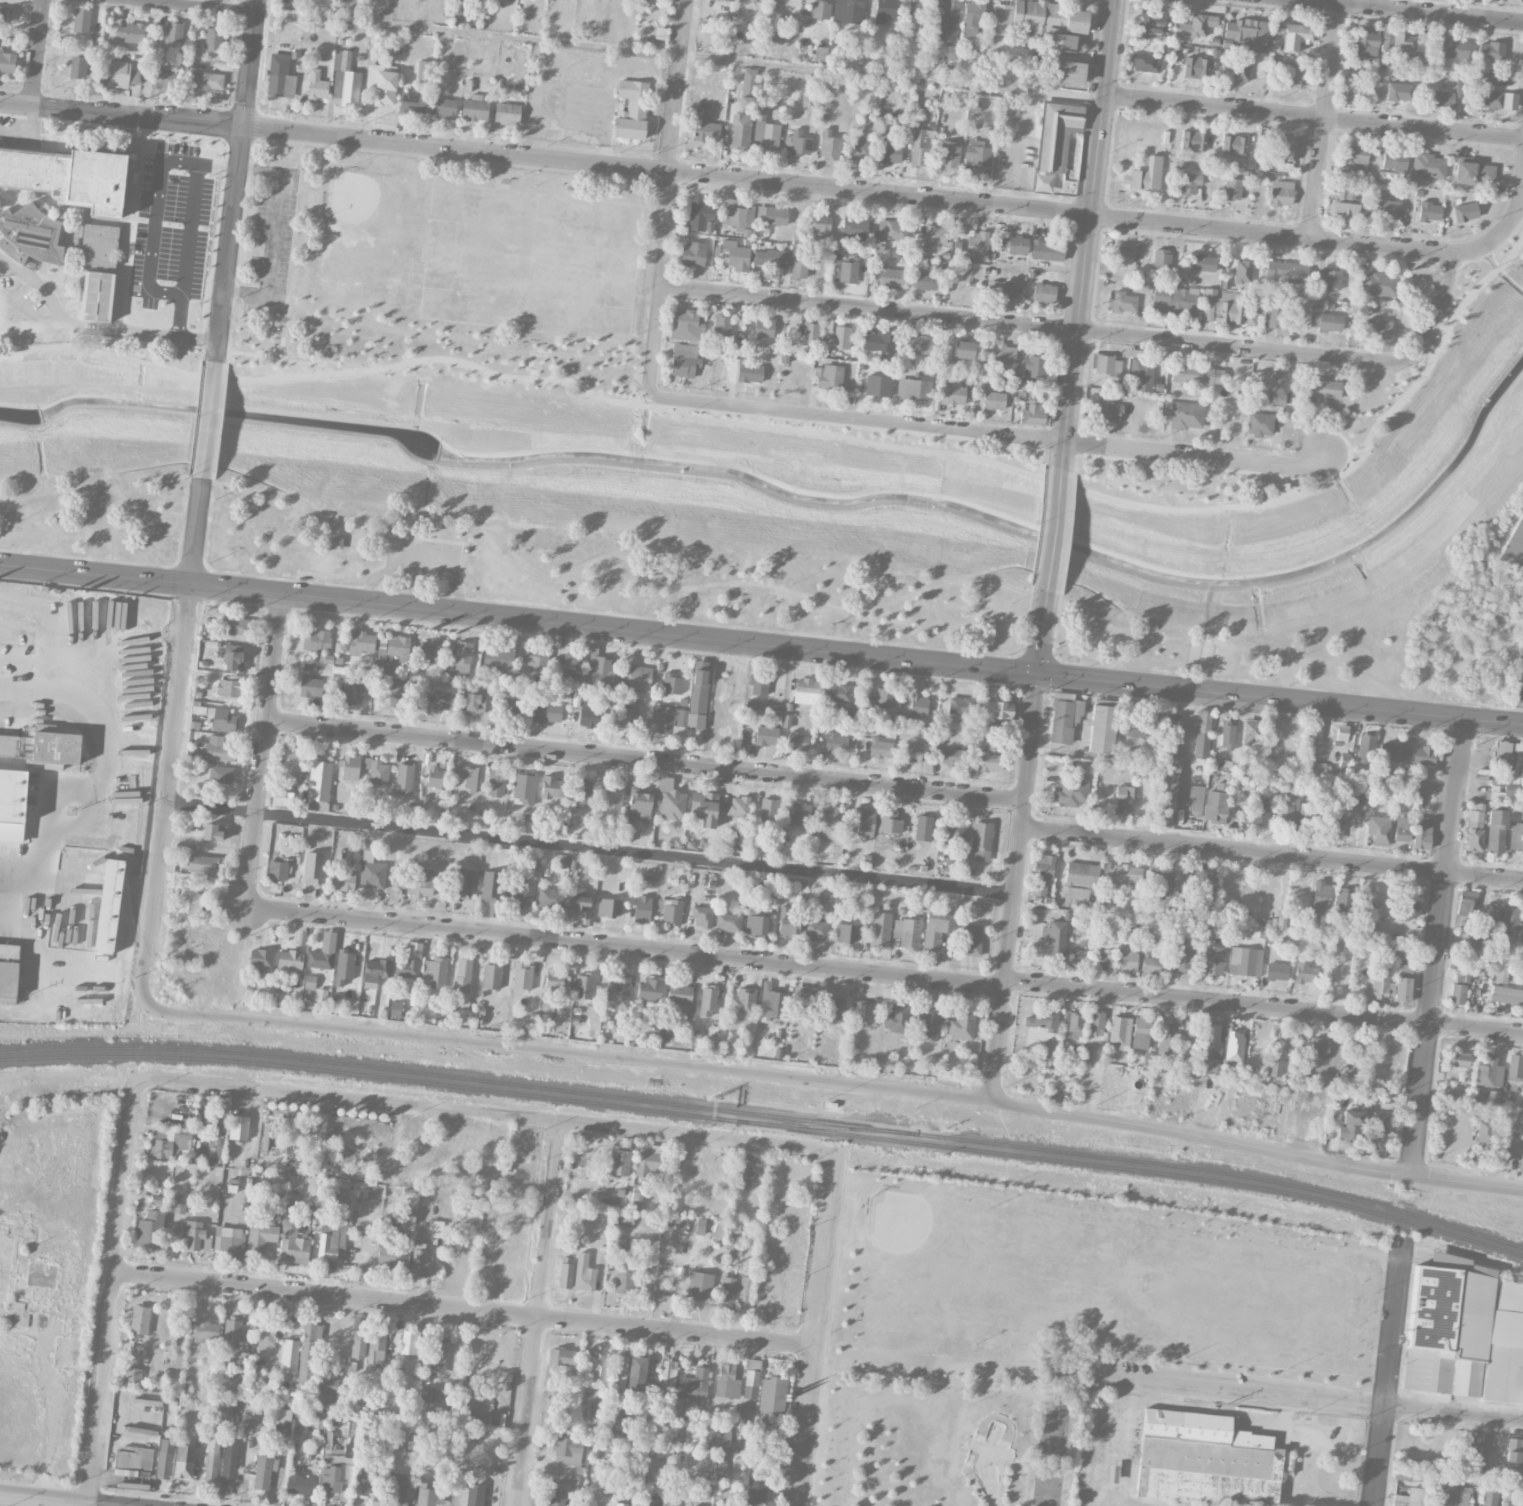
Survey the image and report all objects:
building: (729, 0)
building: (764, 0)
road: (188, 7)
building: (818, 8)
building: (885, 10)
building: (848, 11)
road: (1421, 11)
building: (5, 13)
building: (972, 19)
building: (81, 20)
building: (948, 20)
building: (1151, 20)
building: (1076, 21)
building: (1033, 22)
building: (1197, 26)
building: (174, 31)
building: (1246, 31)
building: (130, 32)
building: (1295, 37)
building: (213, 39)
building: (1411, 41)
building: (1366, 43)
building: (1452, 48)
building: (1491, 51)
building: (950, 53)
road: (37, 54)
building: (820, 54)
building: (1415, 55)
road: (679, 56)
building: (7, 61)
building: (1145, 63)
building: (1195, 66)
building: (77, 67)
building: (424, 70)
building: (1241, 70)
building: (1066, 72)
building: (121, 74)
building: (1291, 75)
building: (280, 76)
building: (164, 78)
building: (204, 80)
building: (344, 80)
building: (1487, 80)
building: (316, 85)
road: (674, 86)
building: (385, 88)
building: (1459, 90)
building: (1345, 91)
building: (1400, 91)
building: (747, 92)
building: (1440, 98)
building: (1488, 98)
building: (412, 103)
building: (445, 107)
building: (474, 108)
building: (631, 110)
building: (507, 114)
road: (1312, 115)
road: (1324, 120)
building: (705, 130)
building: (740, 131)
road: (27, 133)
building: (766, 133)
building: (1057, 134)
building: (1193, 140)
building: (797, 144)
building: (829, 145)
building: (1233, 145)
building: (857, 149)
building: (1283, 149)
building: (921, 151)
building: (891, 153)
building: (949, 155)
building: (1354, 155)
building: (978, 158)
building: (1395, 159)
building: (1428, 166)
building: (1473, 173)
building: (68, 176)
building: (1144, 176)
road: (725, 178)
road: (237, 182)
building: (1189, 183)
building: (1233, 189)
building: (1281, 193)
building: (1345, 201)
building: (1388, 208)
building: (1429, 211)
building: (1465, 212)
building: (700, 215)
building: (773, 216)
building: (736, 217)
building: (819, 224)
building: (855, 227)
road: (1503, 229)
building: (891, 231)
parking lot: (272, 233)
road: (272, 233)
building: (30, 235)
building: (934, 235)
road: (1086, 235)
park: (385, 242)
building: (977, 244)
building: (99, 245)
building: (1016, 245)
building: (1047, 250)
building: (693, 253)
building: (736, 255)
building: (1120, 256)
building: (771, 258)
park: (531, 260)
building: (1161, 260)
building: (1203, 262)
building: (799, 267)
park: (440, 272)
building: (848, 272)
building: (1242, 272)
building: (1285, 272)
building: (890, 277)
building: (1331, 279)
building: (922, 280)
road: (660, 284)
building: (1378, 284)
building: (1004, 289)
building: (1044, 293)
building: (97, 296)
building: (1174, 300)
building: (1121, 302)
building: (1221, 307)
building: (1362, 310)
road: (284, 317)
building: (1274, 318)
building: (1250, 320)
building: (1326, 320)
road: (97, 324)
building: (686, 326)
building: (763, 328)
building: (722, 329)
building: (1377, 329)
road: (1092, 330)
building: (811, 332)
building: (841, 337)
building: (879, 341)
building: (919, 344)
building: (963, 349)
building: (1004, 354)
road: (274, 357)
building: (919, 358)
building: (684, 360)
building: (1106, 365)
building: (1035, 366)
building: (744, 371)
building: (1141, 373)
building: (1197, 374)
building: (828, 378)
road: (1396, 381)
building: (878, 385)
building: (1023, 385)
building: (1275, 387)
building: (912, 389)
building: (1325, 389)
building: (952, 395)
building: (994, 400)
building: (1105, 409)
building: (1034, 413)
building: (1183, 414)
road: (857, 419)
road: (209, 420)
building: (1260, 424)
road: (821, 435)
road: (1349, 447)
road: (1196, 455)
road: (1279, 481)
park: (801, 509)
road: (1053, 531)
building: (1515, 546)
road: (419, 559)
road: (96, 574)
building: (236, 626)
road: (174, 633)
road: (1041, 633)
building: (316, 640)
building: (360, 642)
building: (339, 647)
building: (428, 650)
road: (107, 651)
building: (391, 653)
road: (857, 655)
building: (234, 658)
building: (462, 658)
building: (498, 659)
building: (535, 661)
building: (571, 665)
building: (312, 670)
building: (597, 672)
traffic signals: (1037, 675)
building: (636, 677)
building: (699, 683)
building: (758, 683)
building: (672, 684)
building: (310, 686)
building: (230, 687)
building: (351, 689)
building: (806, 691)
building: (398, 692)
building: (838, 692)
building: (885, 697)
building: (444, 700)
building: (475, 703)
building: (509, 703)
building: (918, 706)
building: (960, 706)
building: (998, 709)
building: (546, 712)
building: (589, 715)
building: (629, 715)
building: (222, 719)
building: (1061, 720)
building: (1204, 720)
building: (786, 721)
road: (175, 728)
building: (1135, 728)
building: (1250, 728)
building: (1102, 729)
building: (1313, 731)
building: (1341, 732)
building: (1226, 734)
building: (766, 736)
building: (798, 742)
building: (836, 742)
building: (6, 744)
building: (1173, 745)
building: (1201, 745)
building: (56, 747)
building: (881, 748)
building: (1365, 748)
building: (218, 749)
road: (261, 749)
building: (915, 751)
building: (1391, 752)
building: (1422, 755)
building: (952, 756)
building: (1344, 760)
building: (991, 761)
road: (644, 762)
building: (292, 764)
building: (1510, 765)
building: (350, 767)
building: (1316, 770)
building: (378, 772)
building: (220, 774)
road: (97, 776)
building: (436, 776)
building: (404, 778)
building: (464, 780)
building: (496, 783)
building: (319, 784)
building: (552, 787)
building: (523, 788)
building: (1166, 792)
building: (583, 793)
building: (1071, 793)
building: (613, 795)
building: (1195, 798)
building: (291, 799)
building: (670, 799)
building: (1123, 799)
building: (1364, 800)
building: (12, 802)
building: (1216, 803)
building: (640, 806)
building: (738, 806)
building: (704, 808)
building: (768, 809)
building: (1285, 809)
building: (797, 814)
building: (1260, 814)
building: (1306, 818)
building: (825, 820)
building: (864, 821)
building: (889, 823)
building: (1333, 827)
building: (923, 828)
building: (1378, 828)
building: (1401, 829)
building: (1474, 830)
building: (954, 831)
building: (1496, 831)
building: (213, 832)
building: (1422, 833)
building: (1516, 837)
building: (981, 842)
building: (186, 850)
road: (589, 850)
road: (1271, 852)
building: (200, 864)
building: (949, 866)
building: (312, 868)
railway: (133, 869)
building: (277, 870)
building: (372, 871)
building: (1042, 873)
building: (1122, 875)
building: (1182, 876)
building: (342, 880)
building: (1210, 881)
building: (1160, 882)
building: (1080, 883)
building: (419, 884)
building: (462, 884)
building: (490, 887)
road: (1012, 888)
building: (520, 894)
building: (550, 898)
building: (579, 899)
building: (1343, 900)
building: (1466, 901)
building: (189, 902)
building: (109, 906)
building: (609, 907)
building: (642, 908)
building: (1322, 908)
building: (670, 911)
building: (1412, 911)
building: (702, 917)
building: (1510, 917)
building: (1278, 921)
building: (1522, 921)
building: (728, 922)
building: (787, 923)
building: (756, 925)
building: (1465, 928)
building: (880, 929)
building: (815, 930)
building: (935, 930)
building: (1485, 930)
building: (847, 933)
building: (907, 933)
building: (1053, 939)
building: (971, 940)
road: (1434, 946)
building: (1346, 947)
building: (1396, 952)
building: (323, 953)
building: (1079, 957)
building: (1183, 958)
building: (289, 959)
building: (261, 960)
building: (1106, 960)
building: (1128, 960)
building: (1213, 960)
building: (1245, 961)
building: (1150, 964)
building: (344, 967)
building: (407, 968)
building: (8, 971)
building: (1276, 971)
building: (376, 972)
building: (433, 972)
building: (1305, 973)
building: (1501, 973)
road: (884, 974)
building: (462, 975)
building: (522, 975)
building: (491, 976)
building: (309, 981)
building: (555, 981)
building: (583, 985)
building: (1382, 985)
building: (1403, 989)
building: (649, 990)
building: (619, 991)
building: (1457, 994)
building: (1506, 995)
building: (680, 999)
building: (87, 1000)
building: (708, 1001)
building: (771, 1001)
building: (835, 1002)
building: (743, 1003)
building: (802, 1005)
building: (395, 1008)
railway: (62, 1012)
building: (864, 1015)
railway: (46, 1018)
building: (897, 1019)
building: (1043, 1020)
building: (1096, 1023)
building: (927, 1024)
building: (1073, 1024)
building: (961, 1025)
building: (1119, 1032)
building: (1141, 1032)
building: (1190, 1036)
building: (1167, 1038)
building: (1234, 1045)
building: (1211, 1047)
building: (1316, 1050)
building: (1458, 1059)
building: (1275, 1066)
building: (1514, 1067)
building: (1488, 1072)
road: (823, 1082)
road: (490, 1114)
railway: (766, 1115)
building: (1522, 1115)
railway: (766, 1124)
building: (1350, 1124)
building: (238, 1127)
building: (1378, 1130)
building: (1485, 1134)
building: (170, 1142)
building: (1507, 1147)
building: (1522, 1154)
building: (619, 1162)
building: (649, 1162)
building: (744, 1177)
building: (637, 1200)
building: (158, 1202)
building: (179, 1204)
building: (409, 1216)
building: (392, 1221)
building: (435, 1228)
building: (335, 1229)
building: (150, 1230)
building: (192, 1233)
building: (260, 1237)
building: (293, 1237)
building: (229, 1242)
building: (206, 1244)
building: (392, 1256)
building: (420, 1260)
building: (584, 1273)
building: (565, 1275)
building: (624, 1278)
building: (700, 1286)
building: (727, 1290)
road: (112, 1292)
building: (745, 1292)
road: (462, 1310)
road: (537, 1314)
building: (140, 1319)
road: (813, 1328)
park: (1053, 1329)
building: (204, 1331)
building: (235, 1332)
building: (1464, 1333)
building: (266, 1334)
building: (410, 1342)
building: (358, 1344)
building: (376, 1346)
building: (439, 1353)
building: (308, 1354)
building: (289, 1357)
building: (560, 1357)
road: (1386, 1369)
building: (597, 1371)
building: (619, 1371)
building: (637, 1373)
building: (132, 1375)
building: (668, 1375)
building: (751, 1379)
building: (727, 1381)
building: (326, 1385)
building: (693, 1387)
building: (432, 1395)
building: (772, 1396)
road: (1308, 1398)
building: (440, 1413)
building: (280, 1414)
building: (744, 1415)
building: (646, 1429)
building: (721, 1440)
building: (567, 1450)
building: (1514, 1450)
building: (1478, 1451)
building: (212, 1454)
building: (1207, 1460)
building: (132, 1461)
building: (184, 1461)
building: (163, 1465)
building: (262, 1472)
building: (228, 1475)
building: (1406, 1475)
building: (334, 1476)
building: (577, 1479)
building: (364, 1481)
building: (298, 1484)
building: (401, 1489)
building: (756, 1490)
building: (475, 1494)
building: (428, 1495)
building: (1508, 1495)
building: (555, 1497)
building: (1460, 1497)
building: (1489, 1497)
road: (67, 1498)
building: (1409, 1498)
building: (1444, 1499)
building: (670, 1501)
building: (1522, 1501)
building: (620, 1504)
building: (1505, 1504)
building: (646, 1505)

